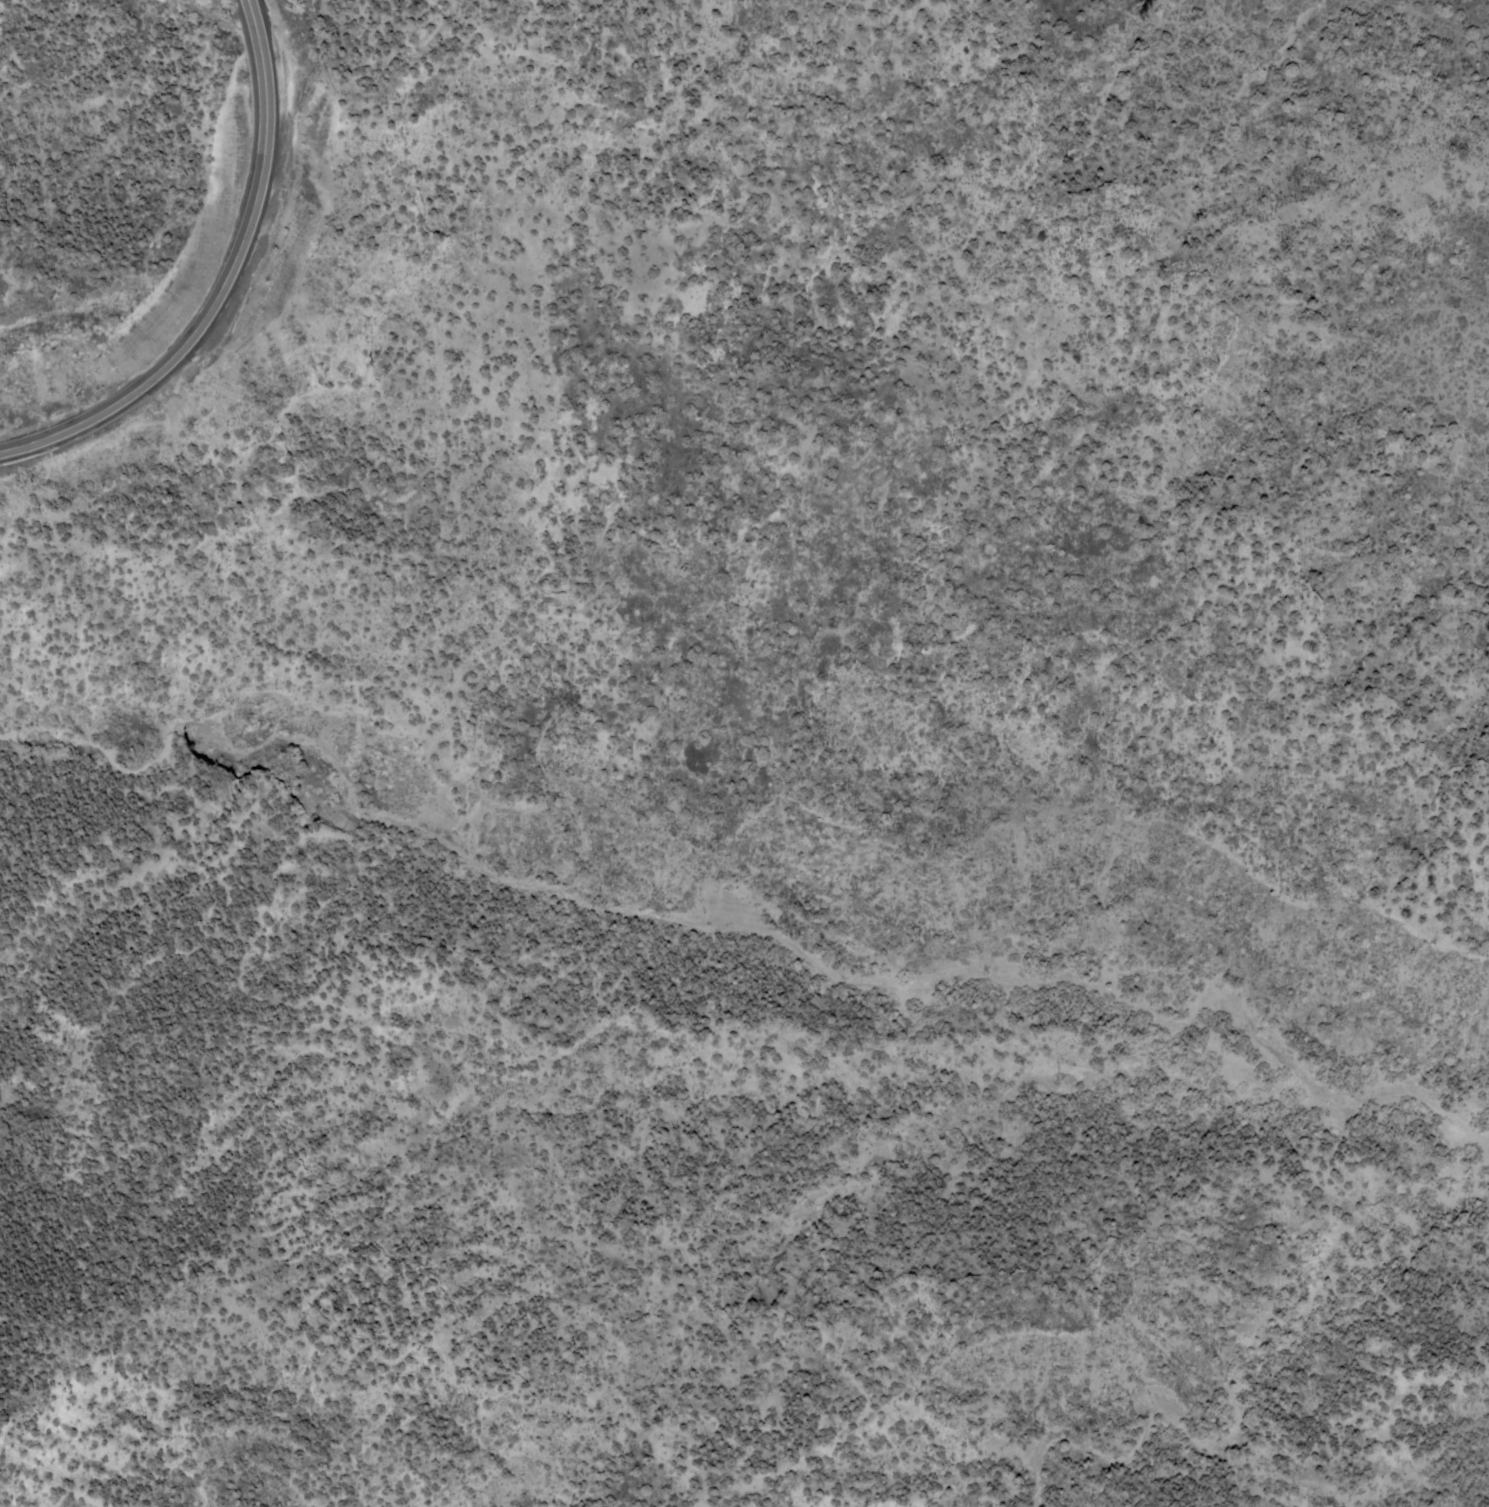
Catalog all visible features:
road: (222, 281)
park: (11, 1449)

